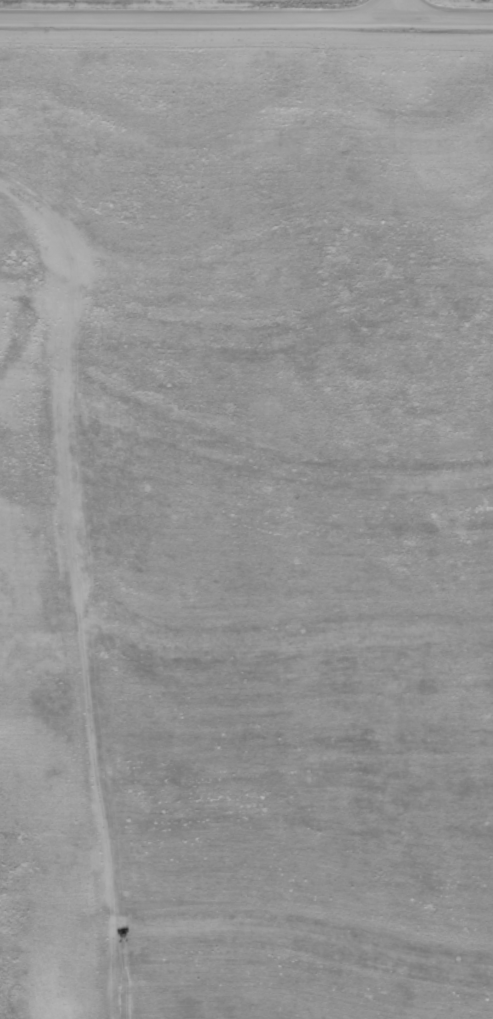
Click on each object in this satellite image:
road: (399, 7)
road: (246, 16)
road: (64, 595)

